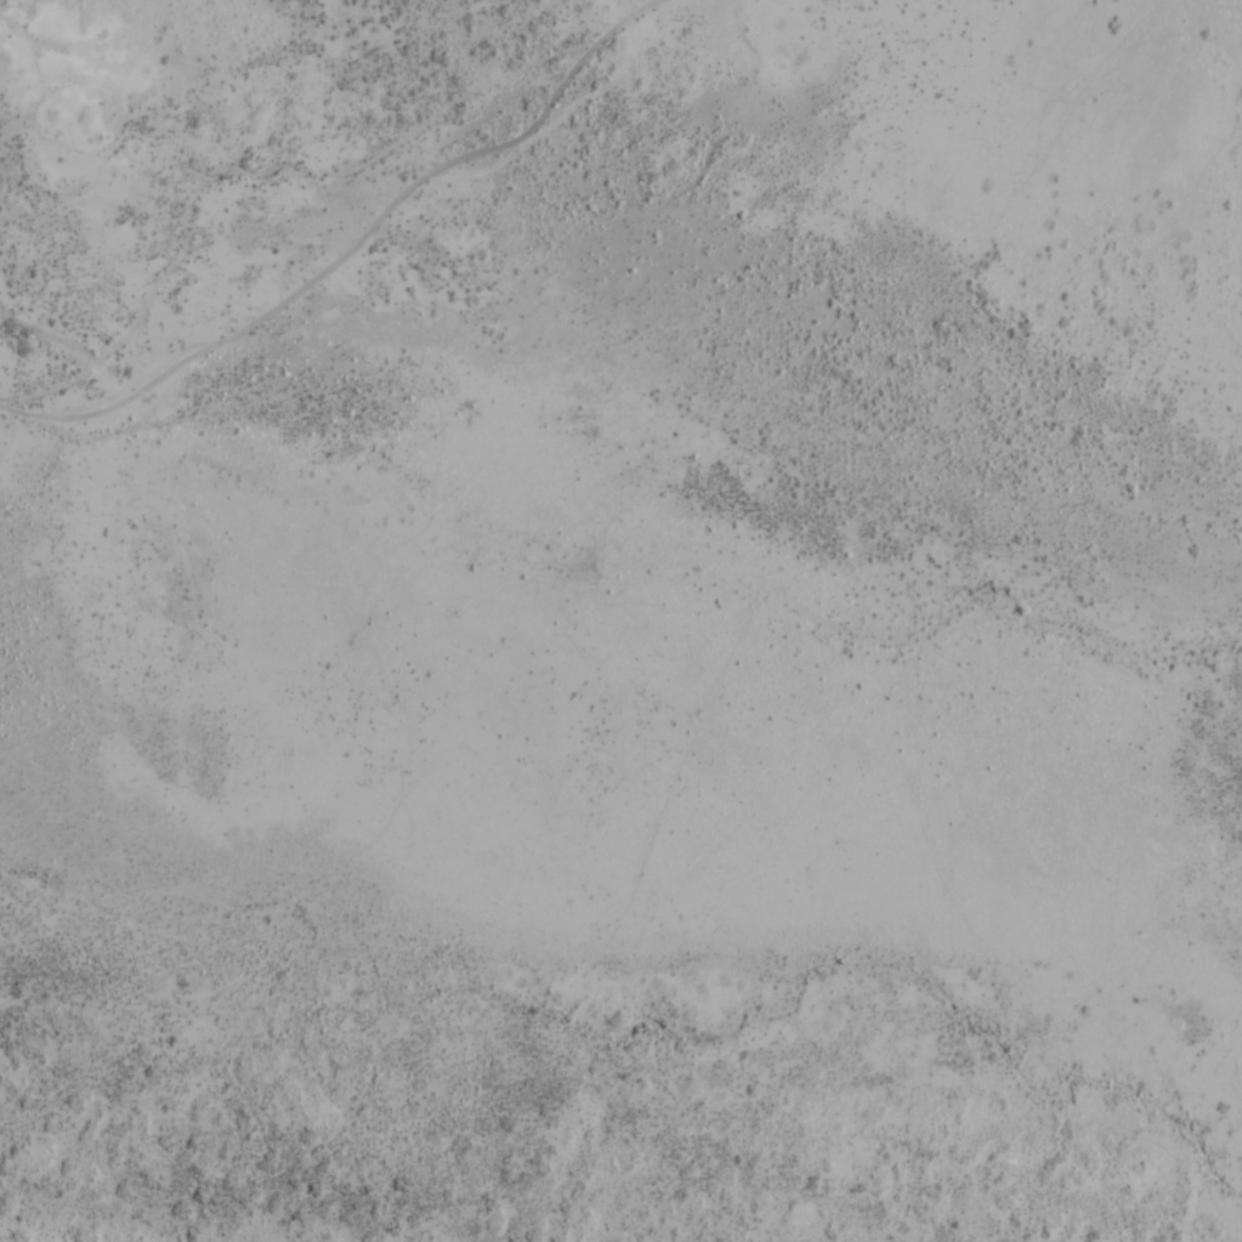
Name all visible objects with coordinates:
road: (442, 318)

